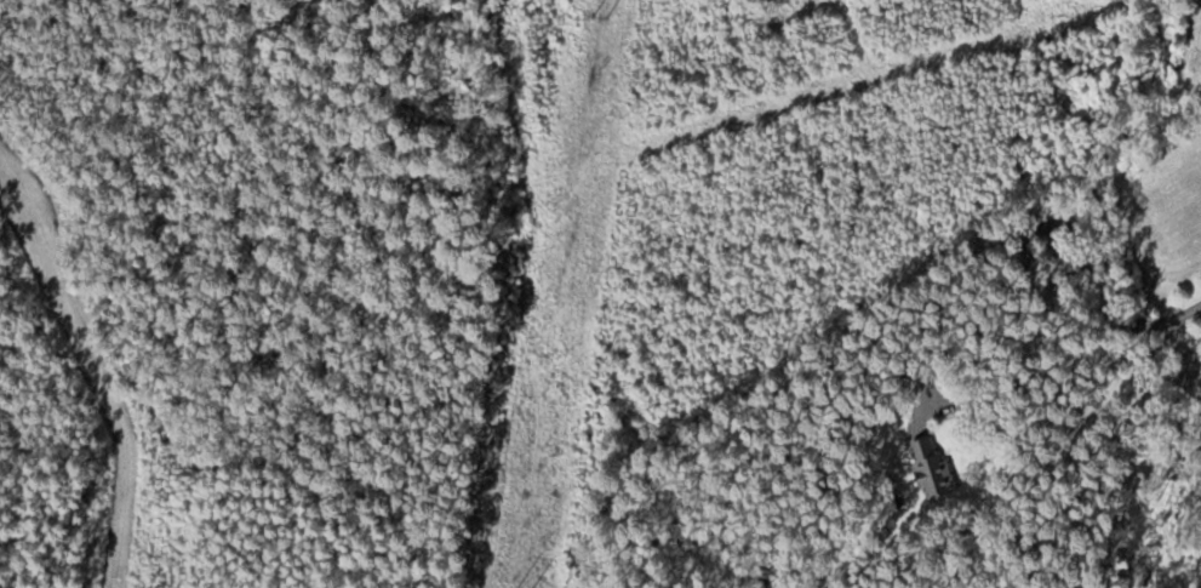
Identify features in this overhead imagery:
power tower: (602, 21)
building: (933, 466)

